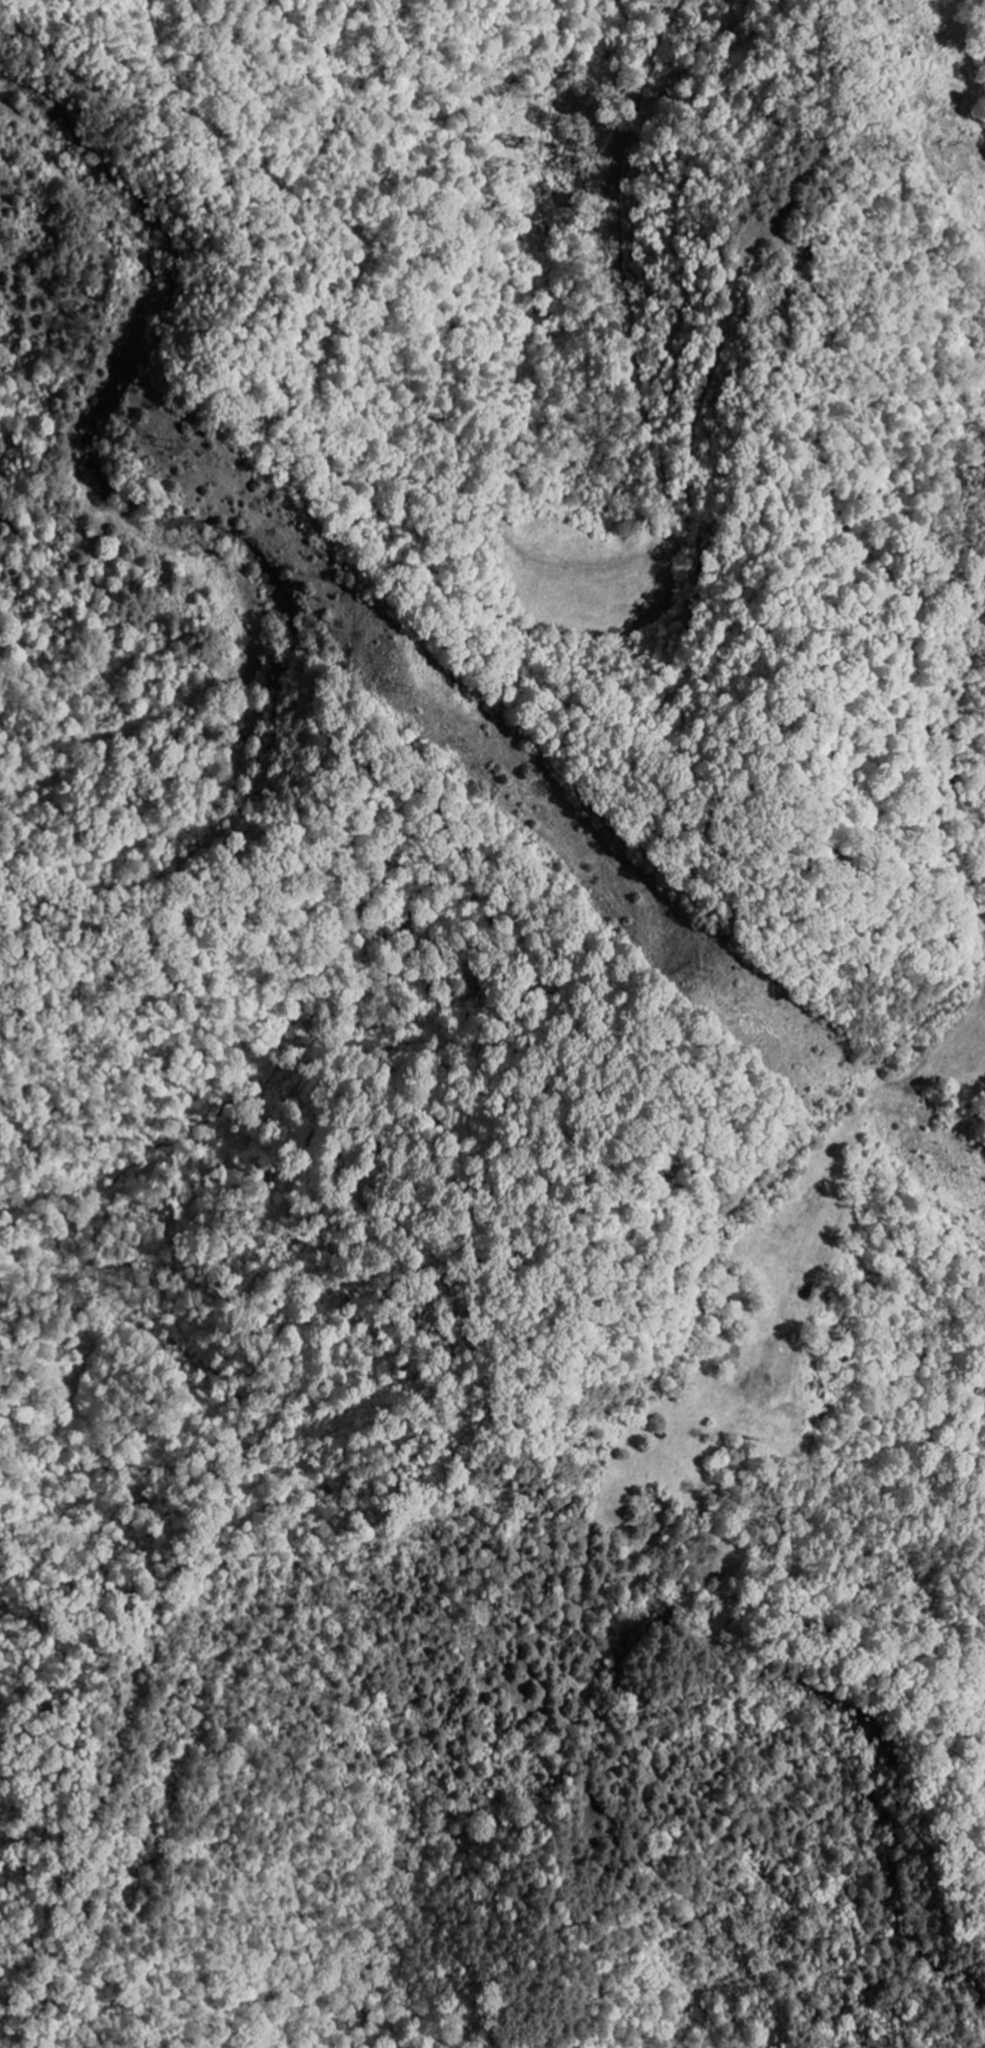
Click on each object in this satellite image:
power tower: (706, 979)

